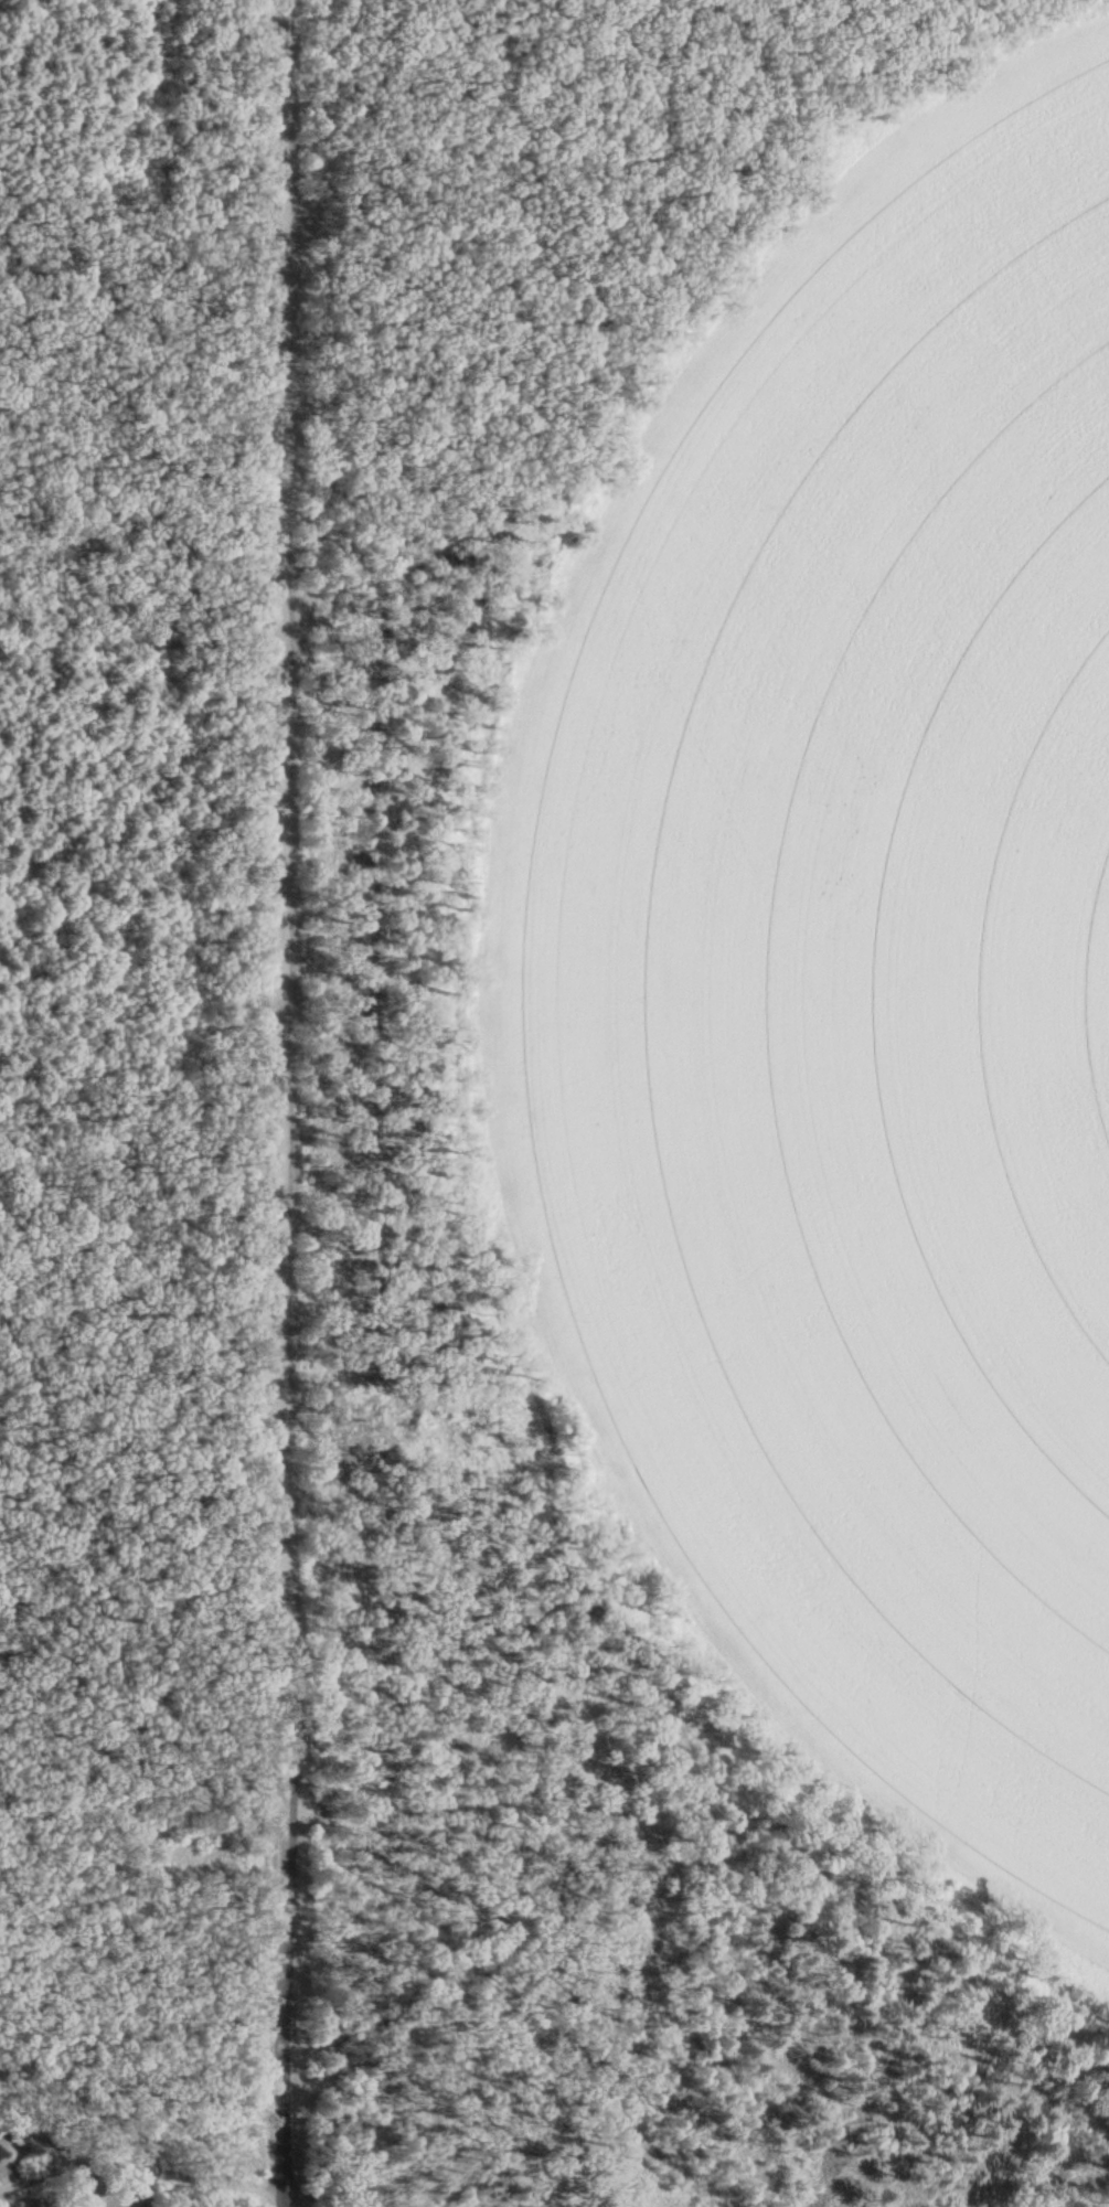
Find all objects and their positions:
road: (276, 1103)
road: (137, 2157)

